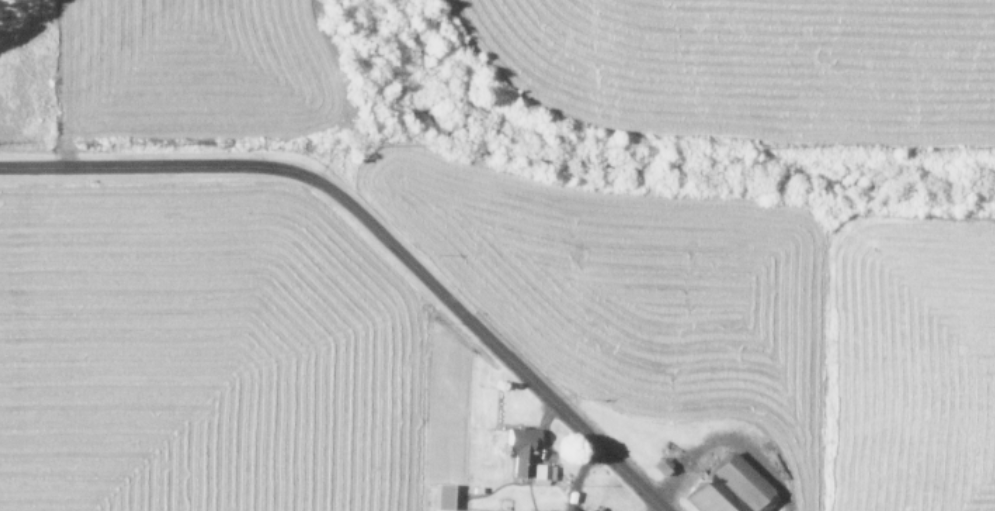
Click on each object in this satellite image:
road: (378, 232)
crop: (497, 255)
building: (516, 447)
building: (539, 473)
building: (727, 487)
building: (436, 497)

